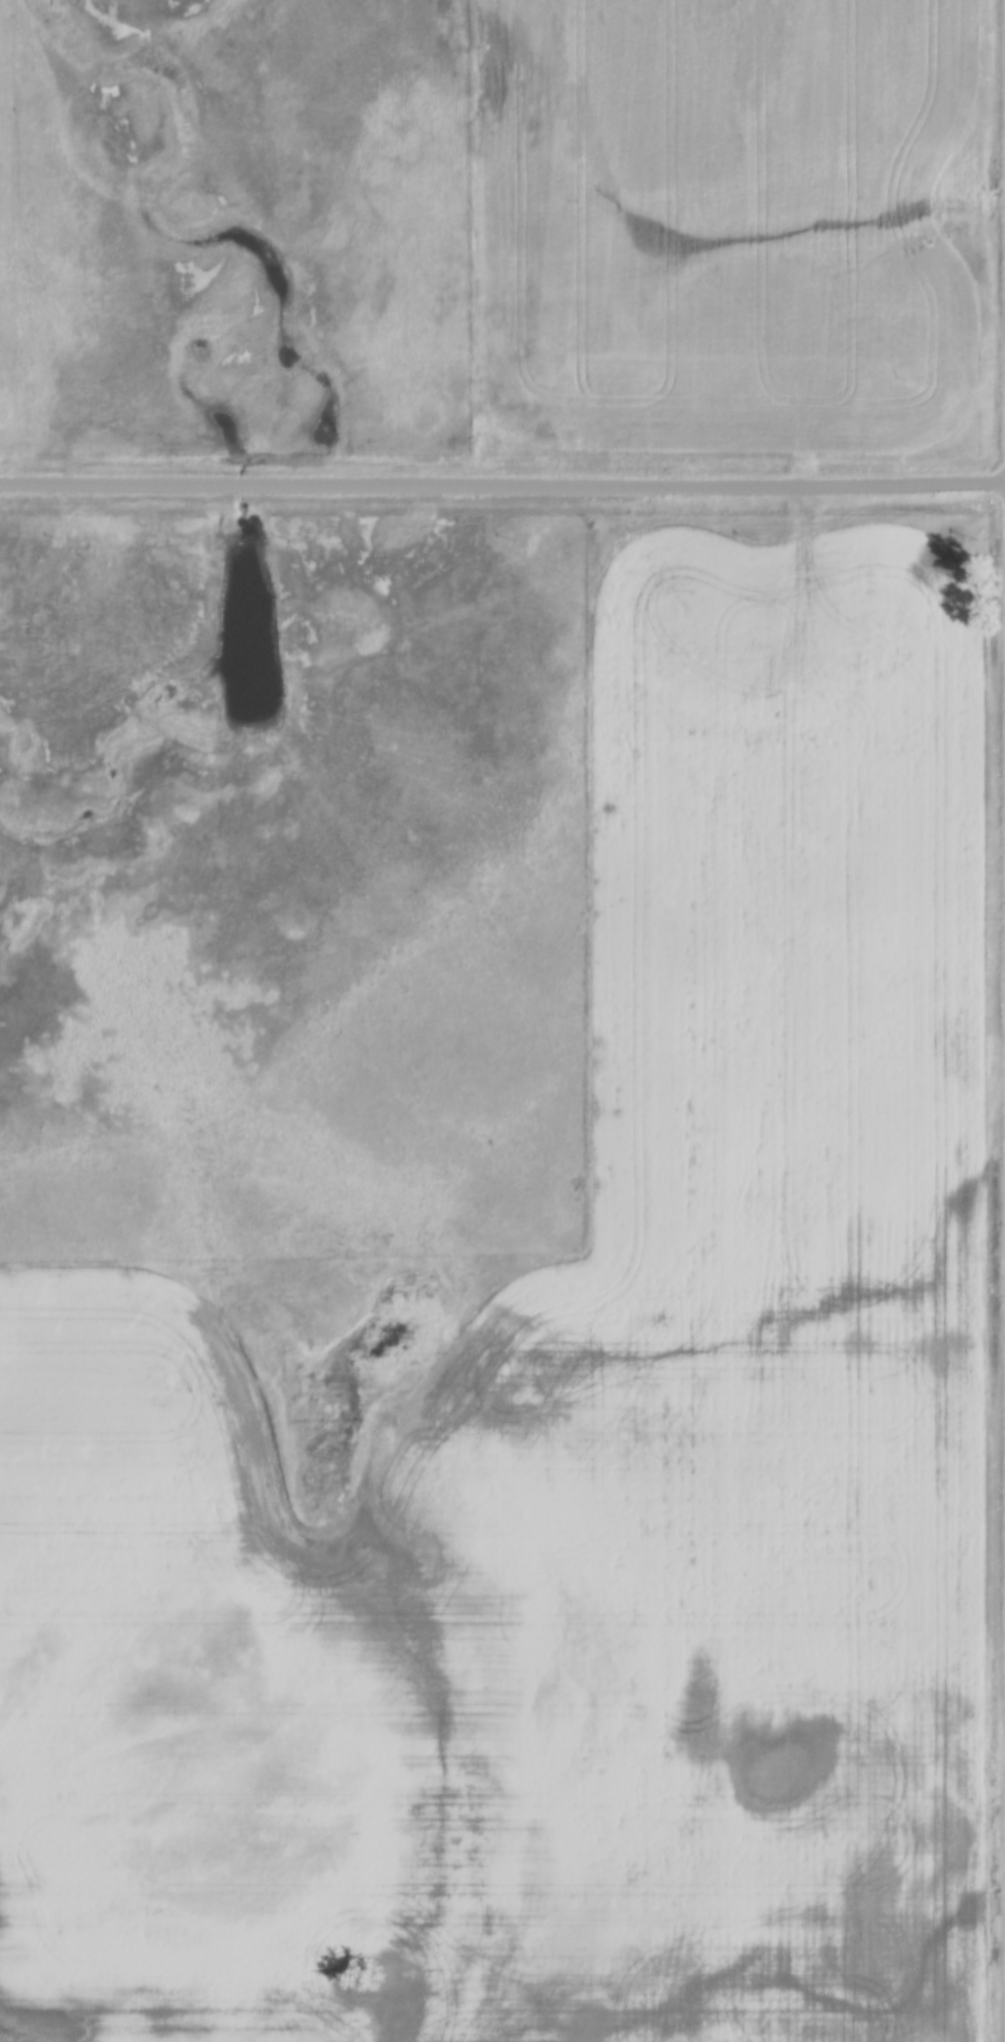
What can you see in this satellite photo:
road: (502, 483)

